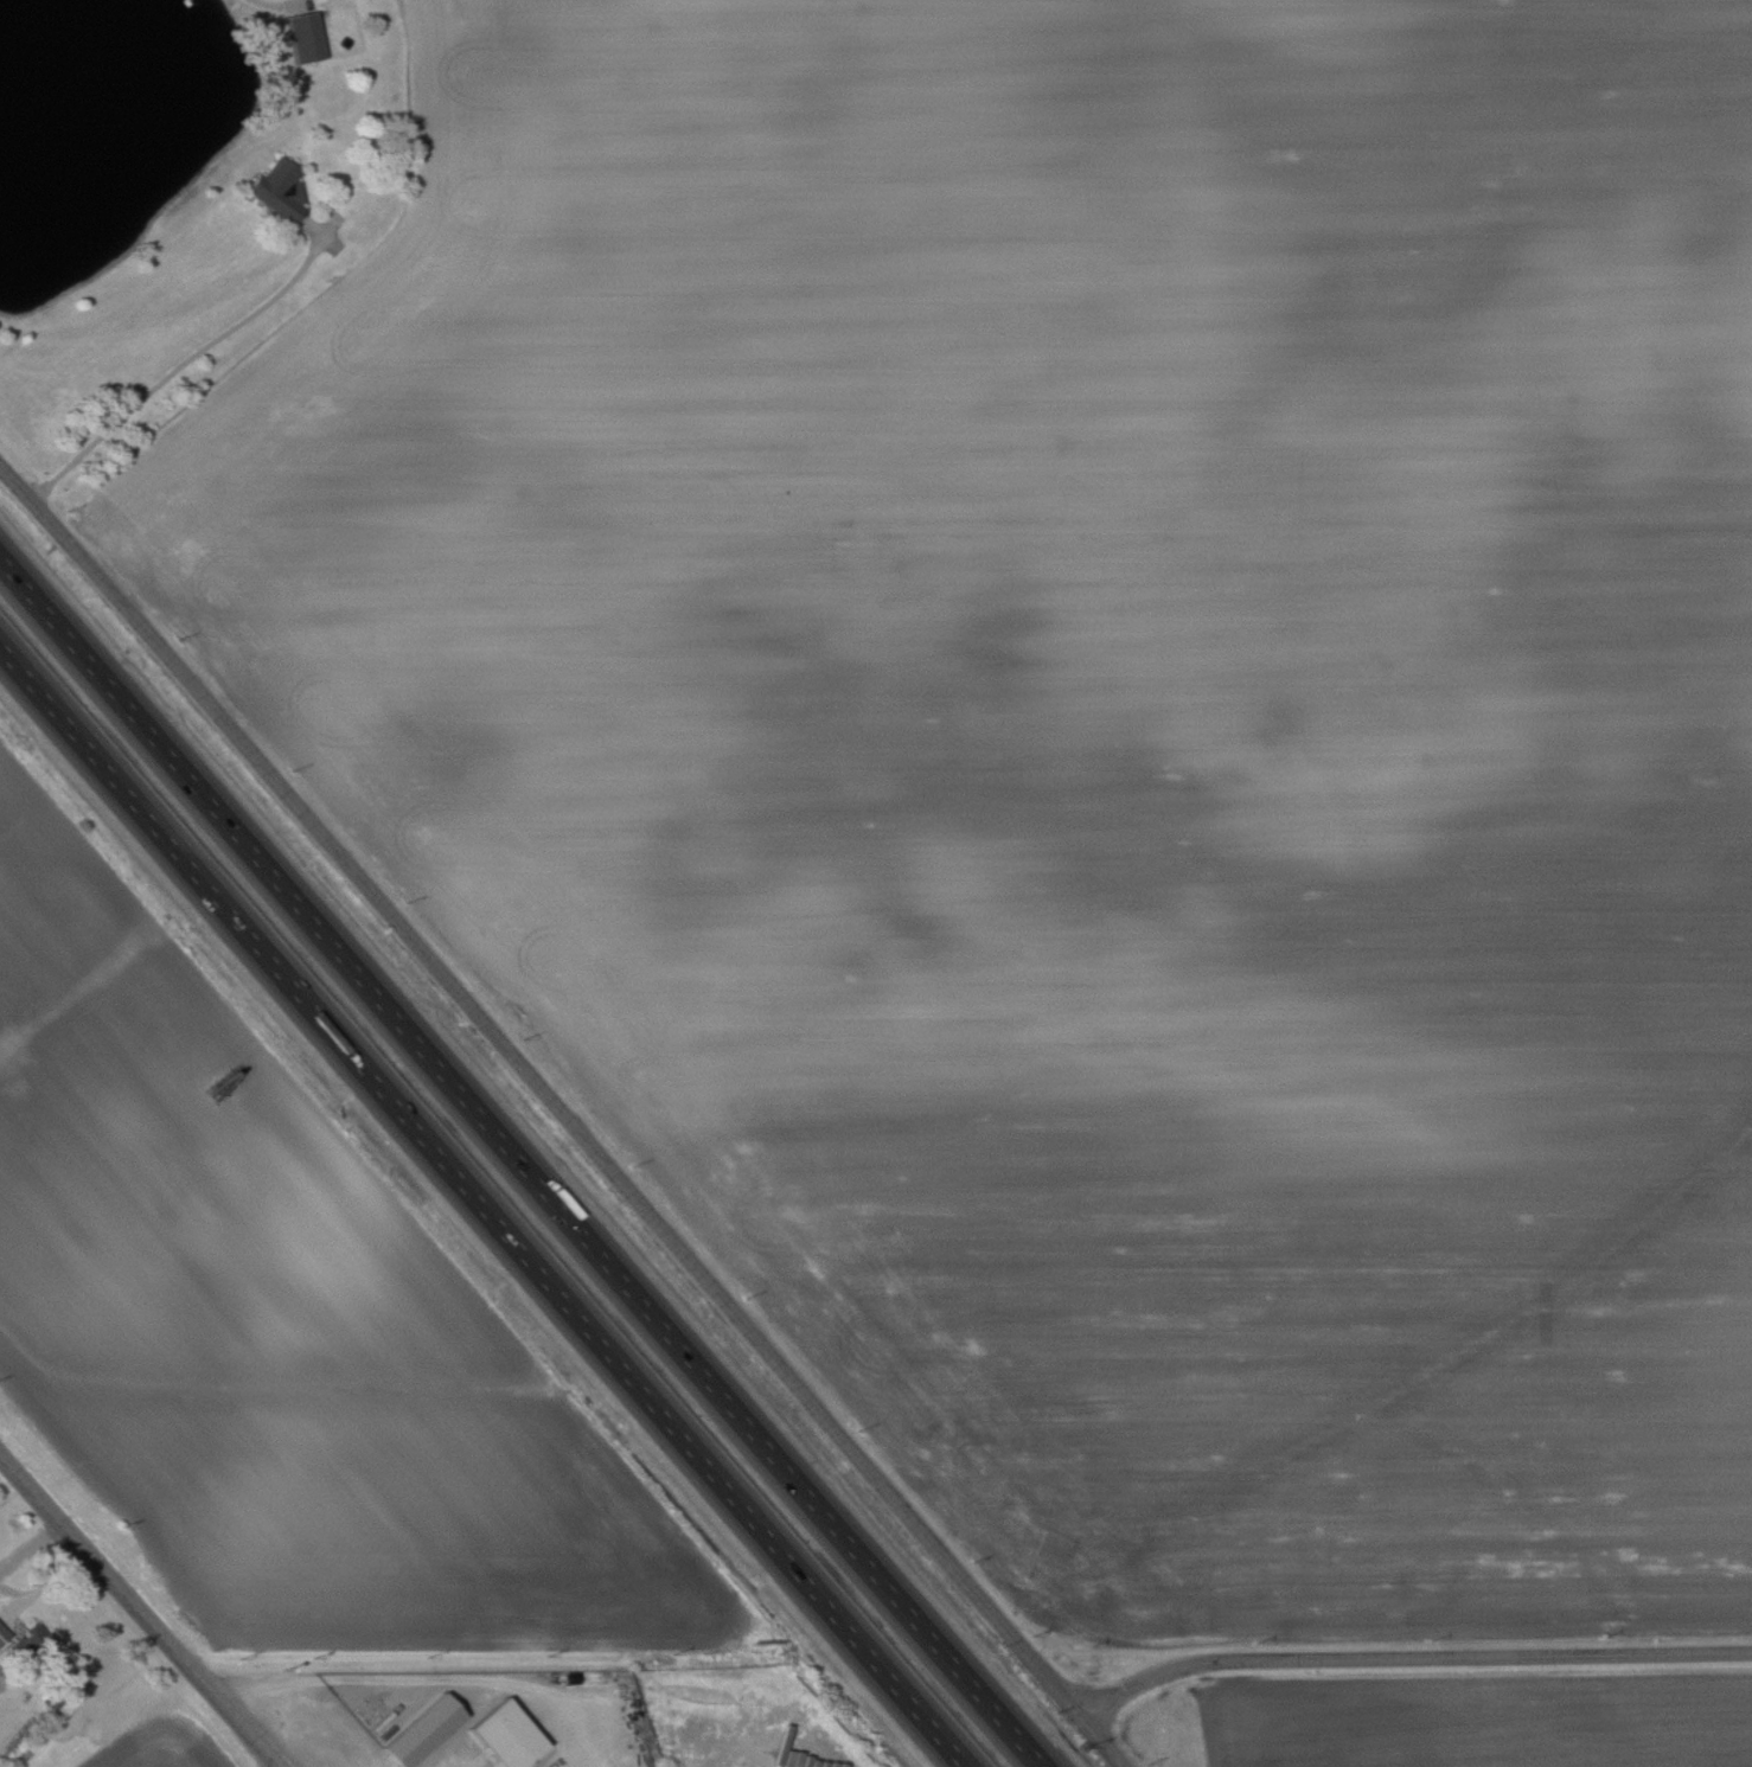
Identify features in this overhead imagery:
building: (303, 36)
building: (277, 188)
road: (178, 369)
road: (563, 1115)
road: (523, 1163)
road: (479, 1208)
road: (139, 1612)
building: (2, 1634)
building: (37, 1638)
road: (1409, 1656)
building: (420, 1731)
building: (505, 1735)

